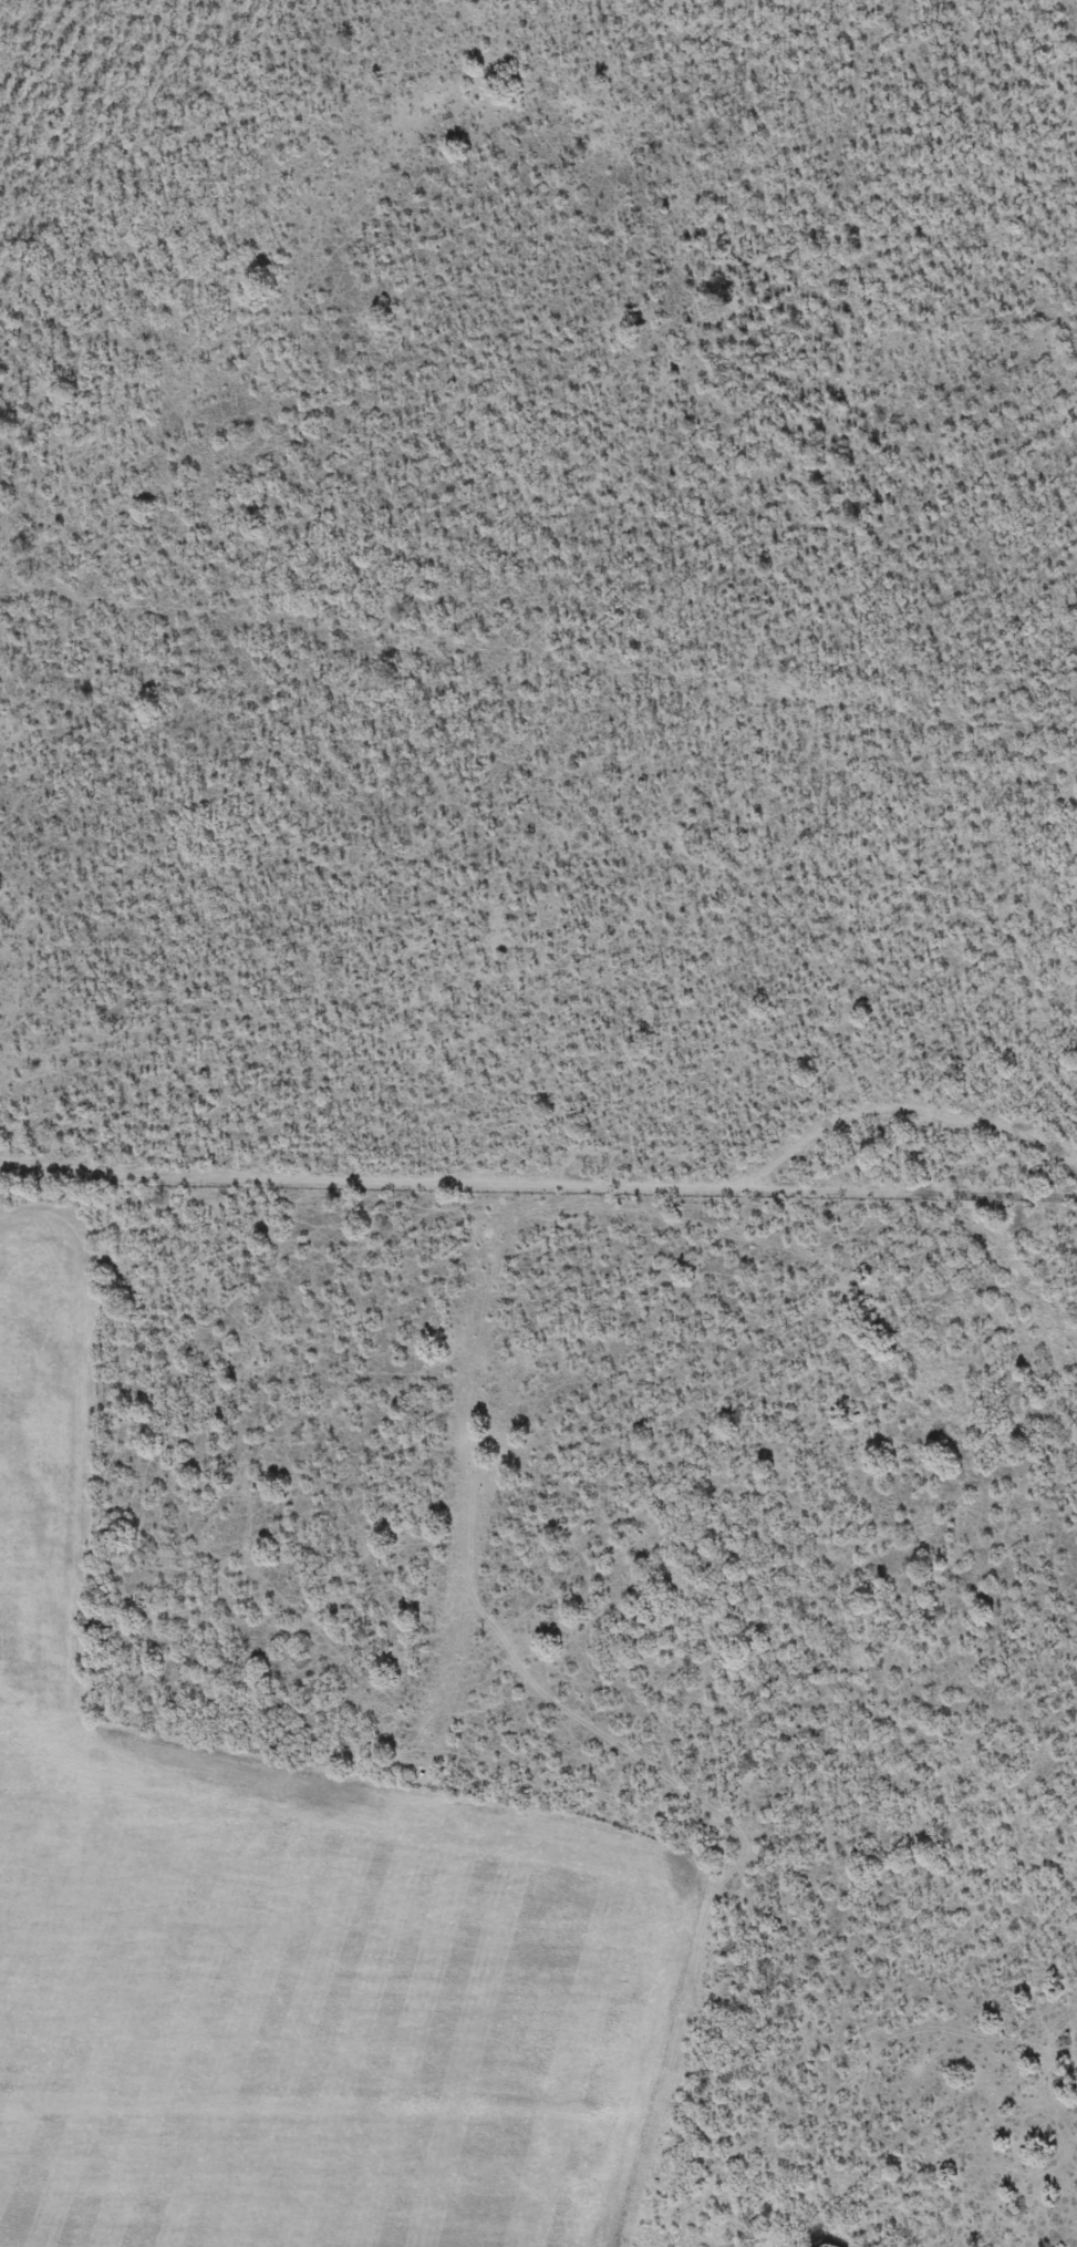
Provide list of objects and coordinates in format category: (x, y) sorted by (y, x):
road: (1071, 9)

